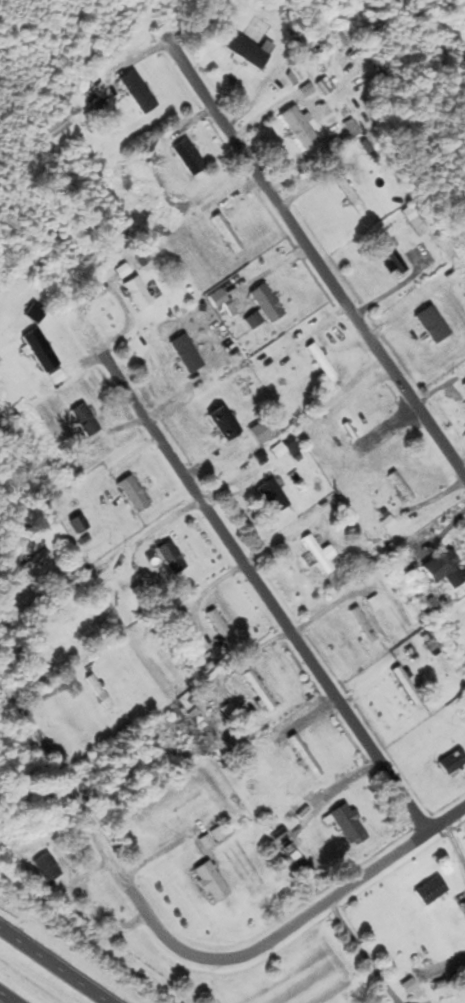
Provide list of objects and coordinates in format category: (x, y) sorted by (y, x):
building: (250, 51)
building: (298, 74)
building: (139, 92)
building: (300, 128)
building: (190, 157)
building: (416, 221)
building: (230, 235)
building: (394, 257)
road: (316, 258)
building: (138, 292)
building: (268, 304)
building: (41, 350)
building: (184, 352)
building: (328, 364)
building: (86, 419)
building: (226, 423)
building: (267, 430)
building: (354, 432)
building: (402, 486)
building: (134, 494)
building: (274, 496)
building: (321, 553)
building: (172, 557)
building: (35, 561)
building: (446, 568)
road: (5, 588)
road: (261, 589)
building: (431, 608)
building: (364, 625)
building: (222, 628)
building: (96, 690)
building: (453, 762)
building: (348, 824)
building: (48, 869)
building: (212, 881)
building: (432, 891)
road: (187, 948)
road: (361, 951)
road: (54, 966)
road: (6, 998)

